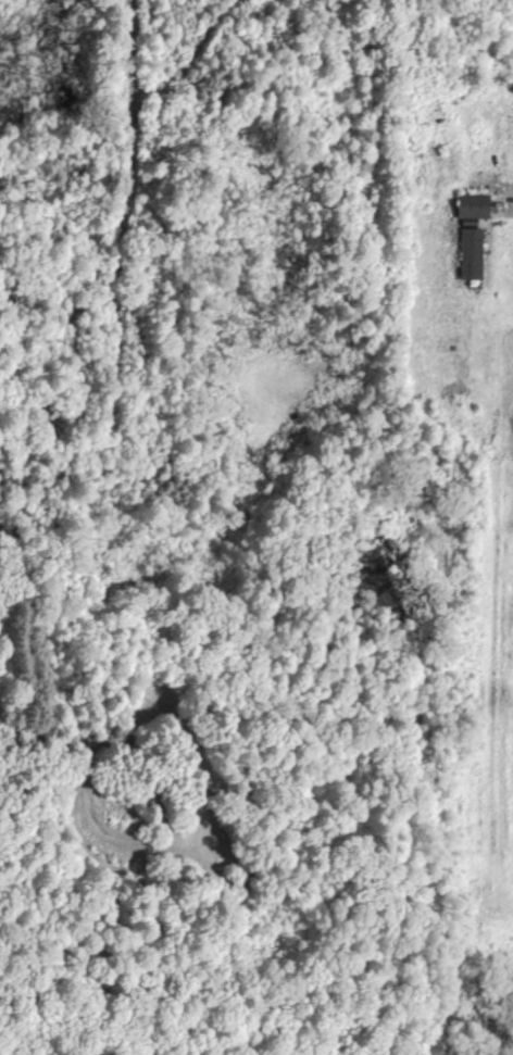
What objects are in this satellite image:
road: (508, 188)
building: (473, 205)
building: (471, 252)

